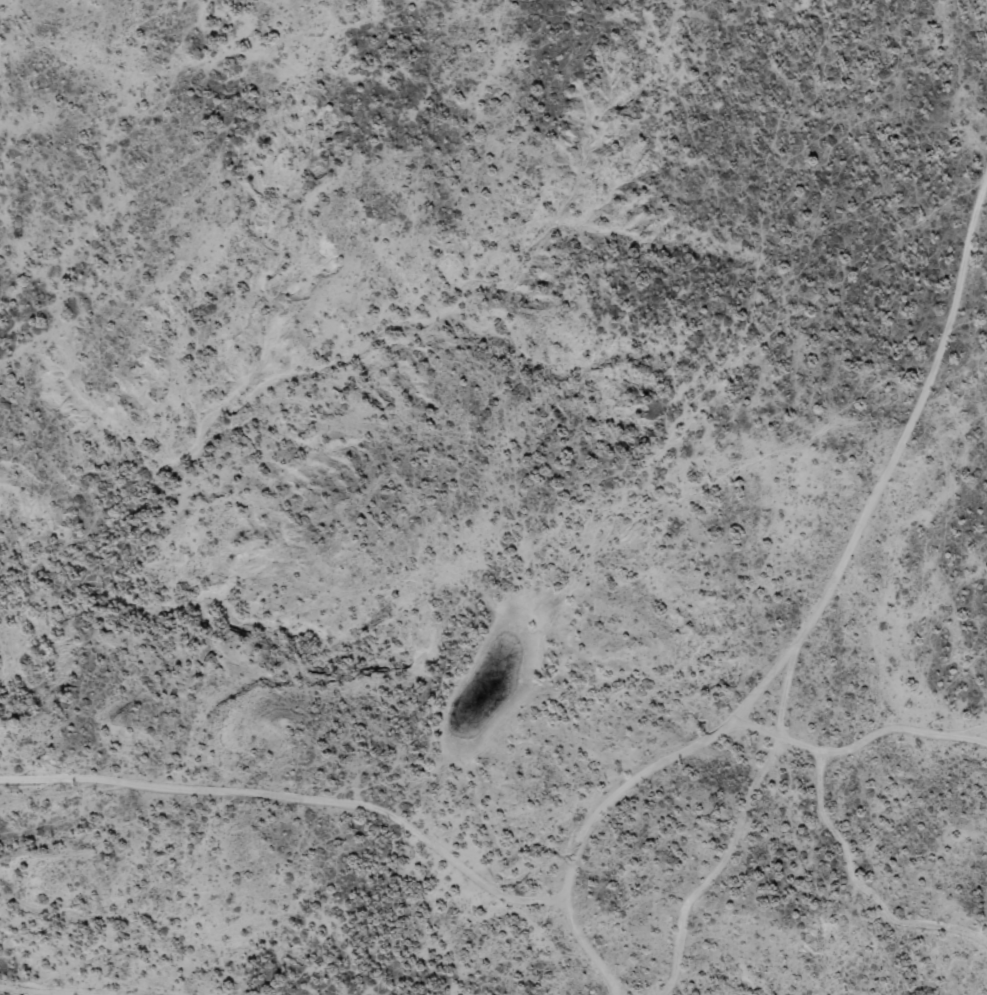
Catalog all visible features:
road: (793, 622)

